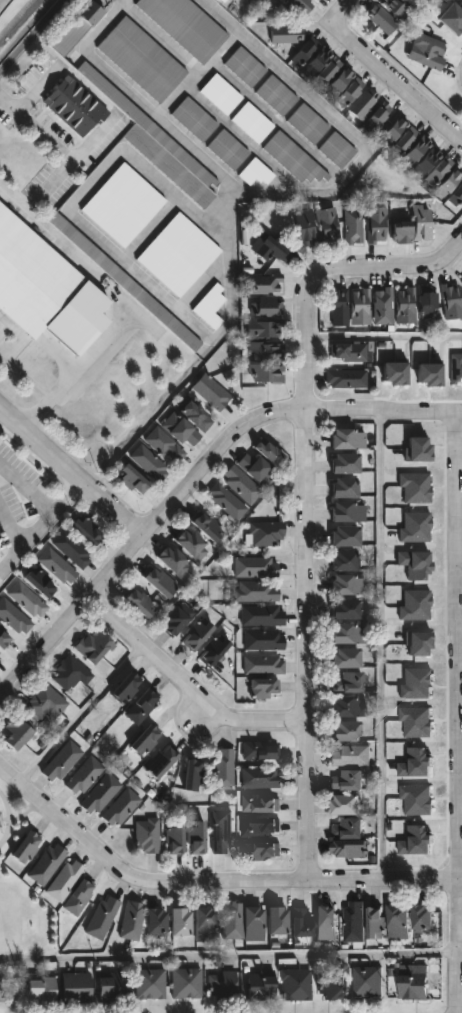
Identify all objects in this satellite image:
building: (315, 0)
building: (421, 0)
road: (127, 1)
building: (221, 1)
building: (280, 1)
building: (410, 3)
road: (4, 4)
building: (301, 5)
building: (394, 8)
building: (382, 20)
building: (452, 20)
building: (185, 25)
building: (76, 28)
building: (285, 35)
road: (32, 37)
building: (428, 51)
building: (310, 57)
building: (141, 60)
road: (365, 61)
road: (101, 62)
building: (245, 67)
building: (326, 72)
building: (339, 81)
building: (350, 94)
building: (220, 95)
building: (276, 96)
building: (364, 104)
building: (74, 107)
road: (165, 108)
building: (194, 119)
building: (378, 119)
building: (252, 123)
building: (308, 124)
road: (338, 126)
road: (442, 127)
building: (393, 130)
building: (404, 142)
road: (51, 143)
building: (157, 145)
building: (228, 150)
building: (337, 151)
building: (417, 151)
building: (293, 159)
building: (426, 162)
building: (256, 172)
building: (439, 172)
building: (448, 182)
building: (456, 197)
building: (123, 206)
building: (420, 224)
building: (376, 225)
building: (328, 227)
building: (306, 228)
building: (352, 228)
building: (401, 231)
road: (101, 242)
building: (277, 249)
building: (178, 255)
building: (31, 278)
building: (461, 281)
building: (124, 282)
building: (261, 284)
building: (427, 300)
building: (451, 302)
building: (405, 305)
building: (210, 307)
building: (339, 307)
building: (267, 308)
building: (360, 308)
building: (383, 308)
building: (262, 329)
road: (383, 338)
building: (264, 351)
building: (350, 354)
building: (456, 370)
building: (267, 373)
building: (394, 373)
road: (75, 375)
building: (429, 375)
road: (25, 376)
building: (346, 379)
building: (211, 392)
building: (195, 415)
road: (384, 415)
building: (181, 430)
building: (347, 438)
building: (165, 446)
building: (417, 450)
building: (270, 452)
building: (149, 463)
building: (346, 464)
building: (257, 468)
road: (70, 476)
building: (133, 481)
building: (241, 485)
building: (345, 488)
building: (415, 488)
road: (25, 491)
building: (226, 502)
road: (306, 502)
building: (349, 512)
road: (39, 526)
building: (209, 528)
building: (415, 528)
building: (86, 530)
building: (265, 533)
building: (347, 537)
road: (140, 539)
building: (192, 545)
building: (72, 550)
building: (174, 561)
building: (345, 561)
building: (414, 565)
building: (57, 567)
building: (254, 567)
building: (40, 583)
building: (161, 583)
building: (350, 585)
building: (255, 591)
building: (27, 600)
building: (141, 603)
building: (415, 606)
building: (347, 609)
building: (262, 616)
building: (13, 617)
building: (178, 619)
building: (350, 634)
building: (197, 635)
building: (4, 639)
building: (264, 640)
building: (418, 644)
building: (93, 645)
road: (381, 648)
building: (213, 651)
building: (1, 658)
building: (347, 658)
building: (264, 664)
building: (69, 674)
building: (348, 683)
building: (415, 684)
building: (127, 688)
building: (265, 688)
road: (188, 690)
building: (45, 701)
building: (142, 706)
building: (349, 707)
road: (456, 714)
road: (80, 715)
building: (416, 721)
building: (347, 731)
building: (17, 733)
building: (145, 740)
building: (260, 750)
building: (351, 755)
building: (162, 760)
building: (61, 761)
building: (415, 764)
building: (224, 768)
building: (83, 775)
building: (193, 775)
building: (261, 777)
building: (349, 780)
building: (100, 794)
building: (416, 799)
building: (261, 803)
building: (347, 805)
building: (121, 807)
building: (260, 826)
building: (222, 831)
building: (147, 836)
building: (198, 837)
building: (350, 838)
building: (176, 839)
building: (416, 841)
building: (27, 846)
building: (260, 851)
building: (47, 863)
building: (65, 880)
road: (209, 885)
building: (79, 897)
park: (19, 909)
building: (102, 916)
building: (424, 917)
building: (132, 920)
building: (232, 920)
building: (280, 920)
building: (158, 921)
building: (182, 921)
building: (354, 921)
building: (400, 921)
building: (327, 922)
building: (377, 922)
building: (206, 923)
building: (255, 923)
building: (303, 923)
road: (460, 950)
road: (229, 953)
building: (367, 980)
building: (415, 981)
building: (187, 982)
building: (150, 983)
building: (223, 984)
building: (296, 984)
building: (333, 986)
building: (78, 987)
building: (115, 987)
building: (262, 988)
building: (43, 990)

